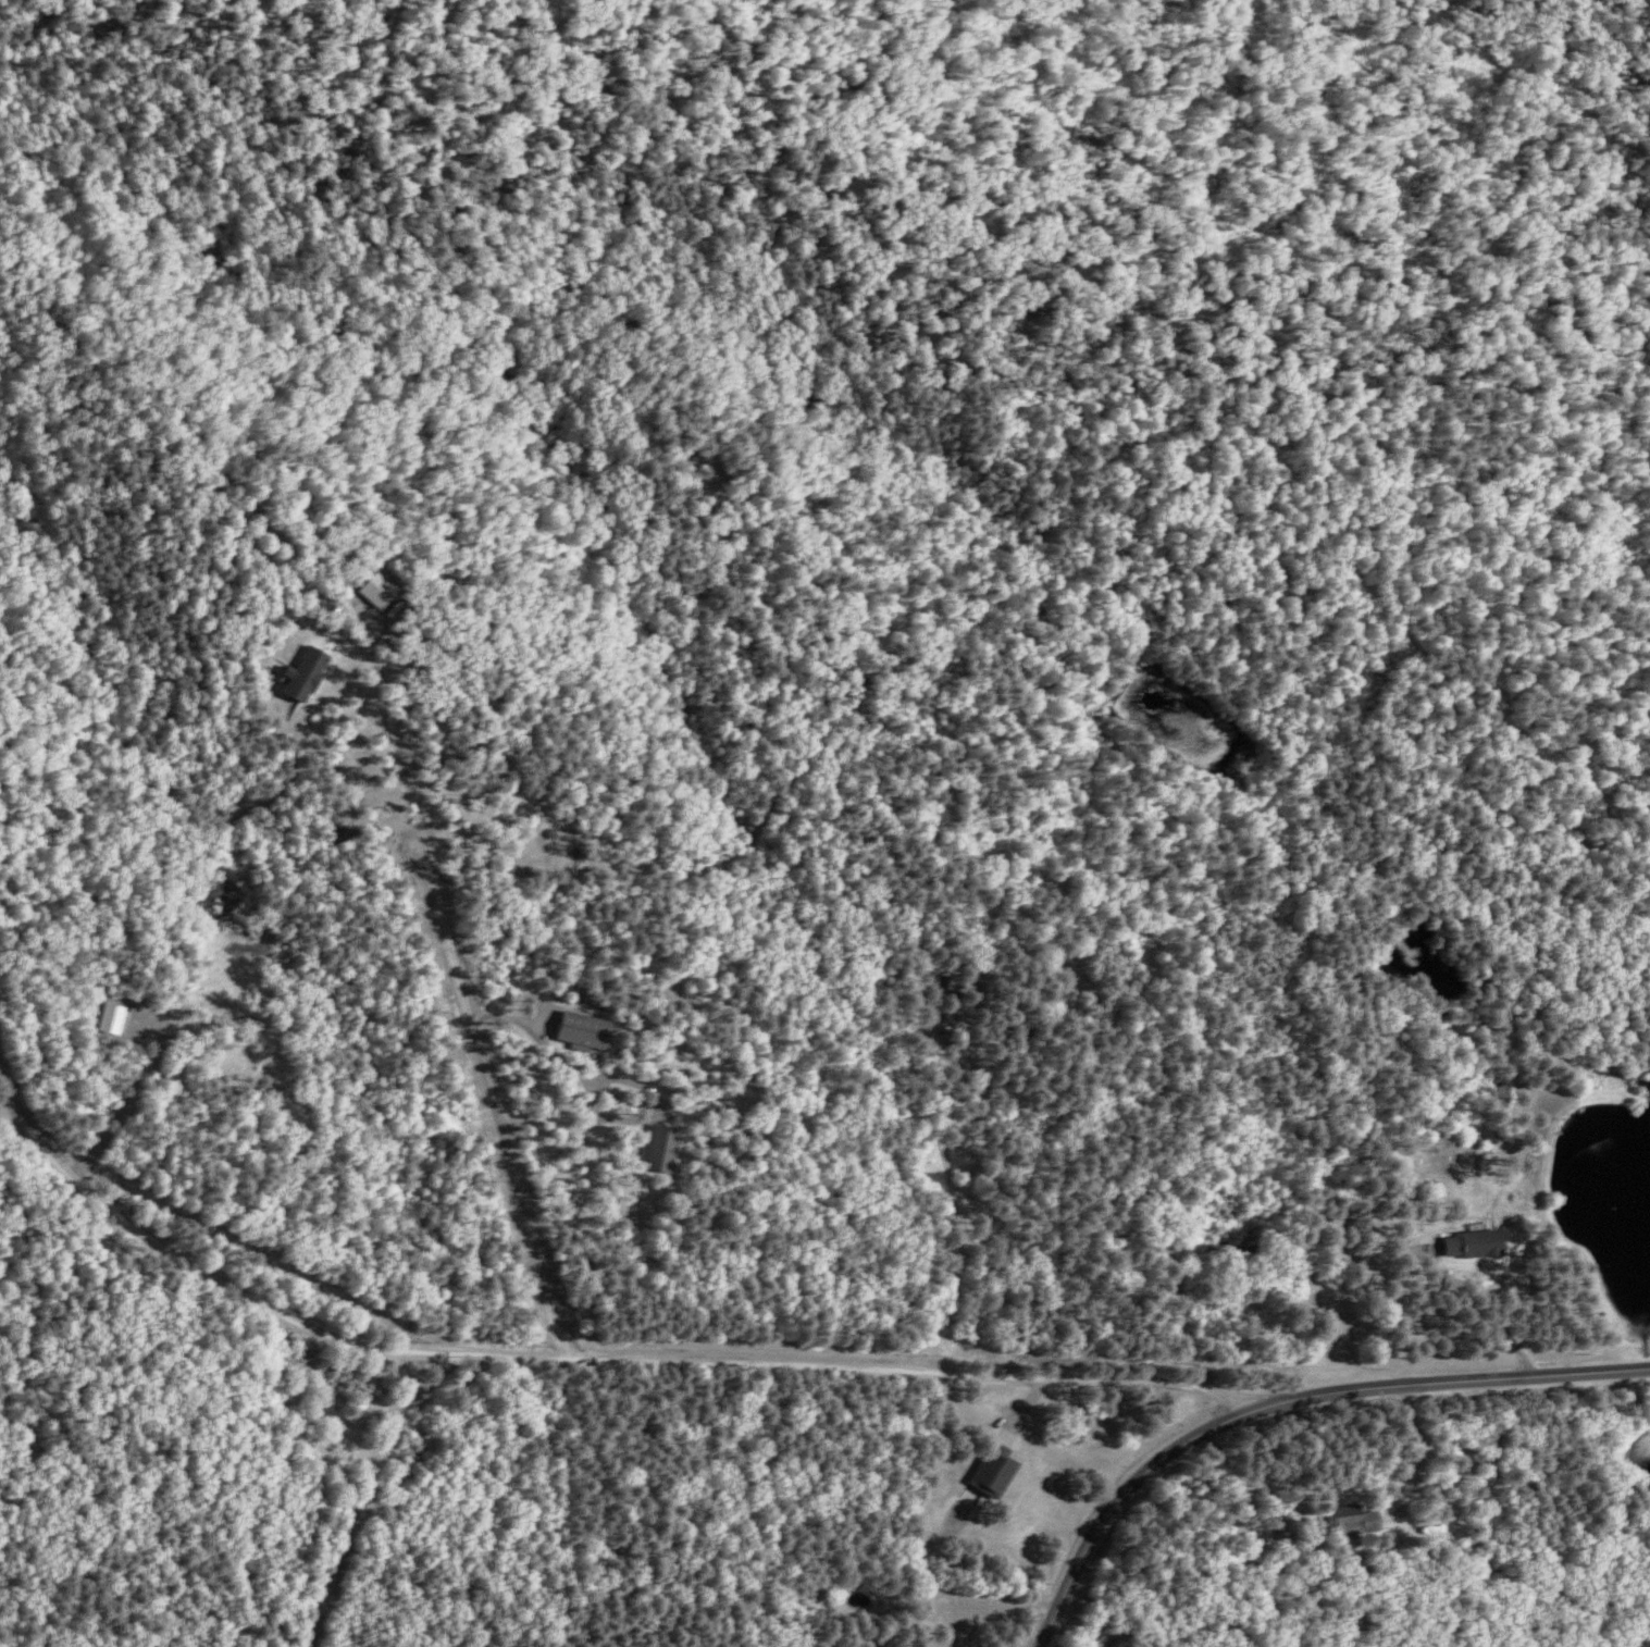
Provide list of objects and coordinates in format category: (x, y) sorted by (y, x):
building: (377, 587)
building: (303, 672)
building: (112, 1015)
building: (584, 1029)
building: (662, 1148)
road: (930, 1187)
building: (1475, 1242)
road: (590, 1355)
road: (1281, 1397)
building: (997, 1469)
building: (1351, 1519)

